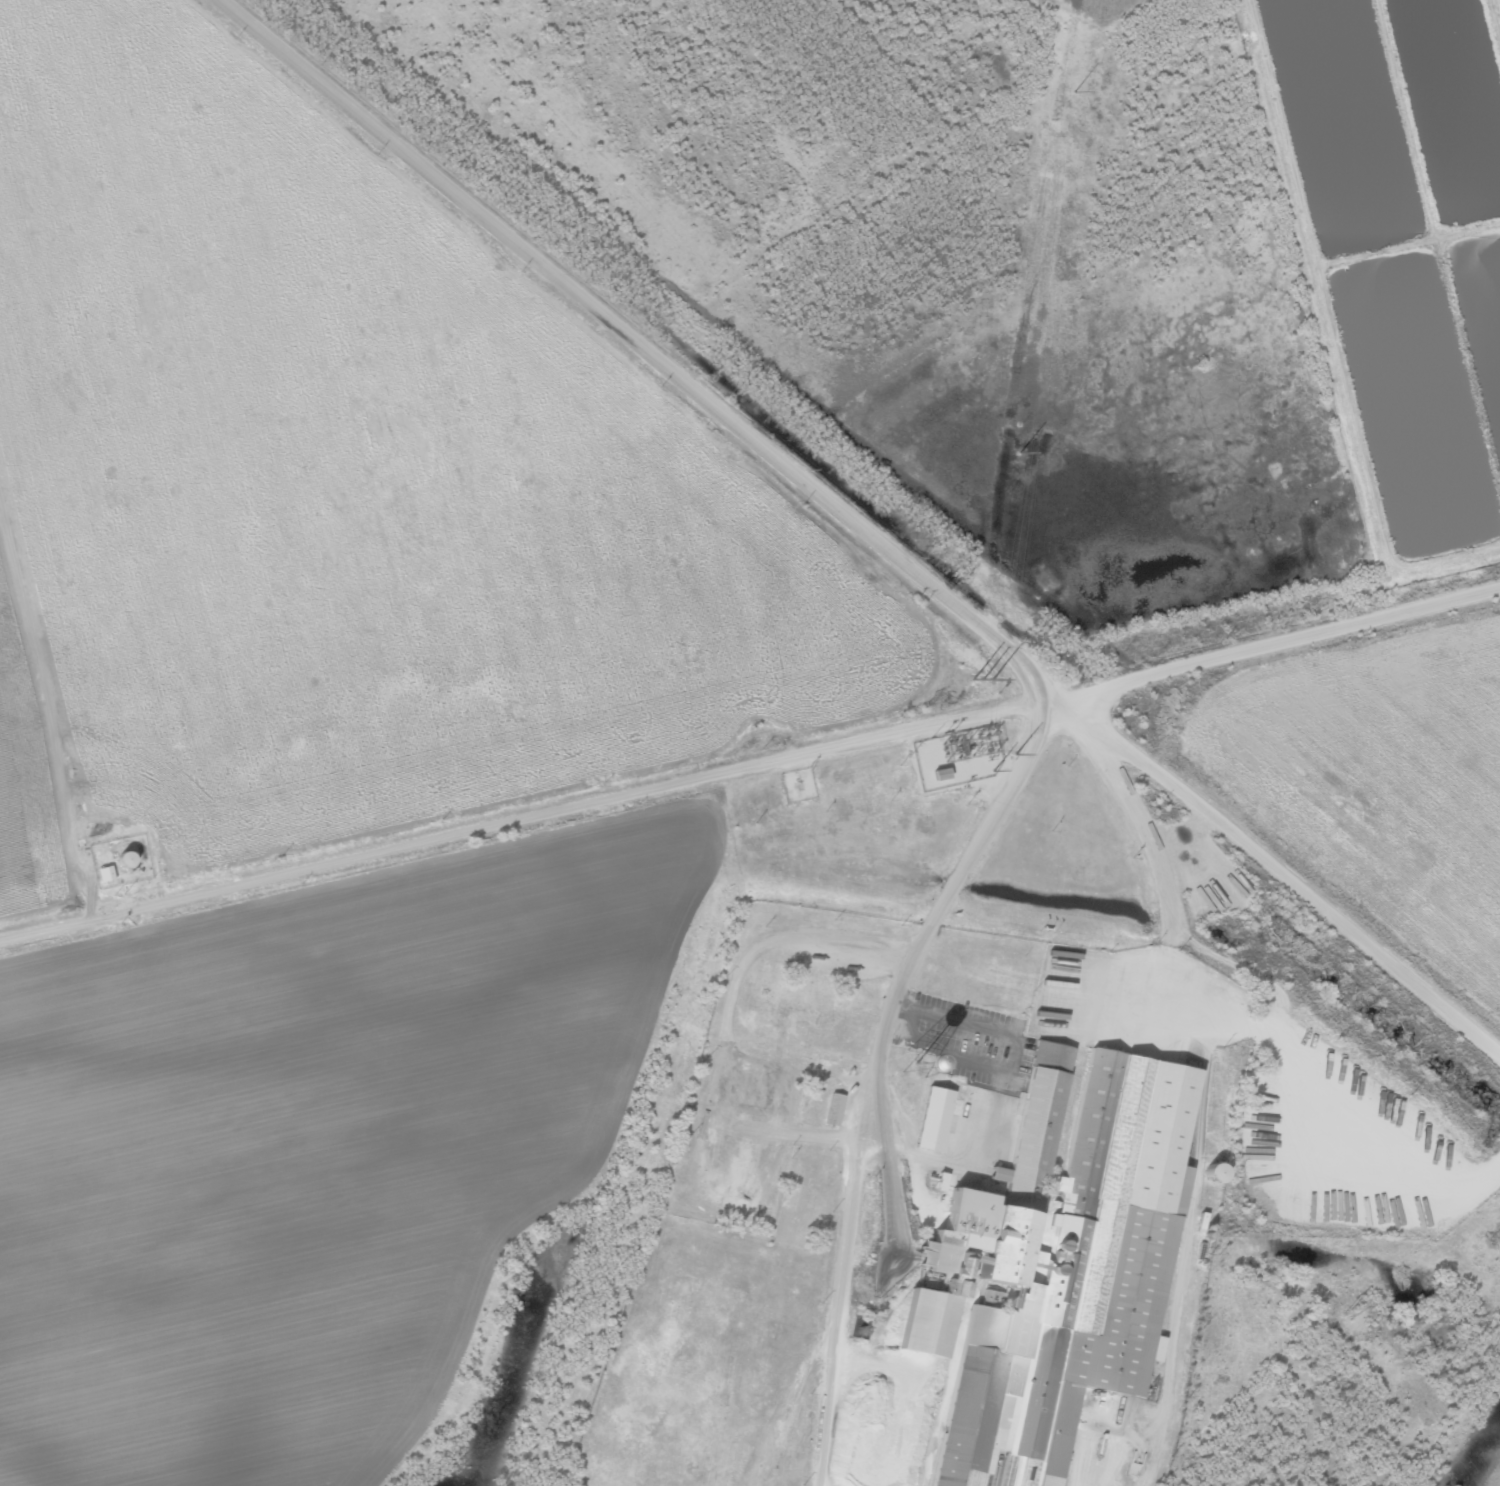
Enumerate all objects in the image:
power tower: (1072, 101)
road: (638, 348)
power tower: (1016, 461)
railway: (892, 500)
power tower: (986, 672)
road: (38, 755)
power substation: (957, 757)
road: (751, 767)
building: (105, 873)
road: (1283, 881)
road: (910, 957)
power tower: (1253, 1068)
building: (834, 1109)
building: (934, 1119)
building: (1051, 1268)
power tower: (1349, 1310)

